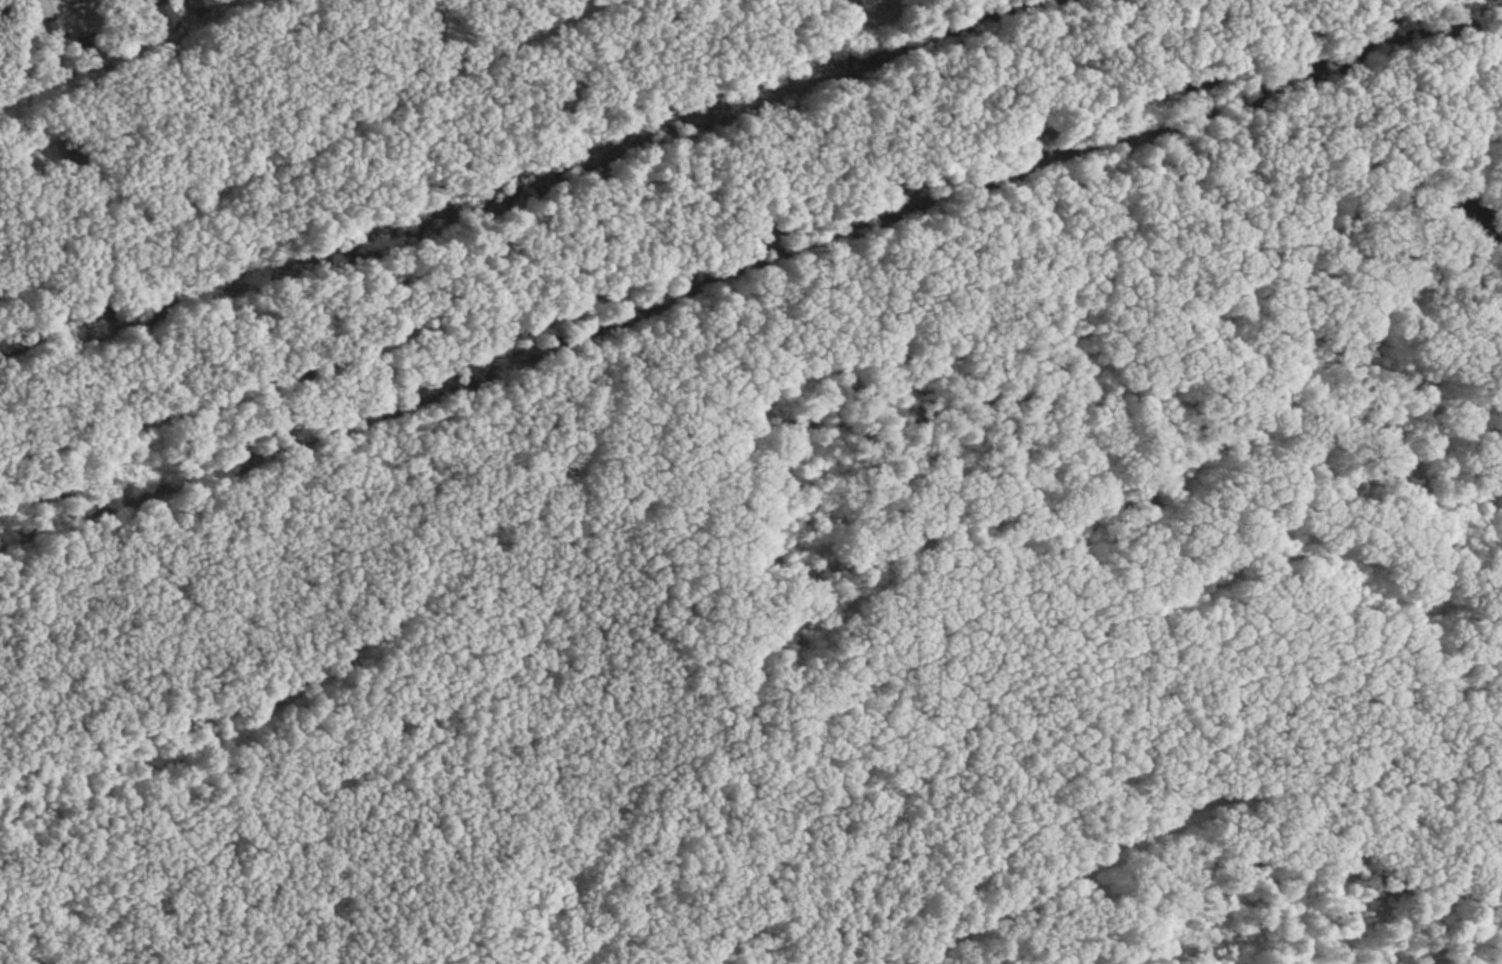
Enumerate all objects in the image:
building: (23, 0)
building: (865, 2)
road: (579, 7)
road: (597, 7)
building: (161, 15)
road: (292, 155)
road: (1188, 802)
road: (1334, 872)

